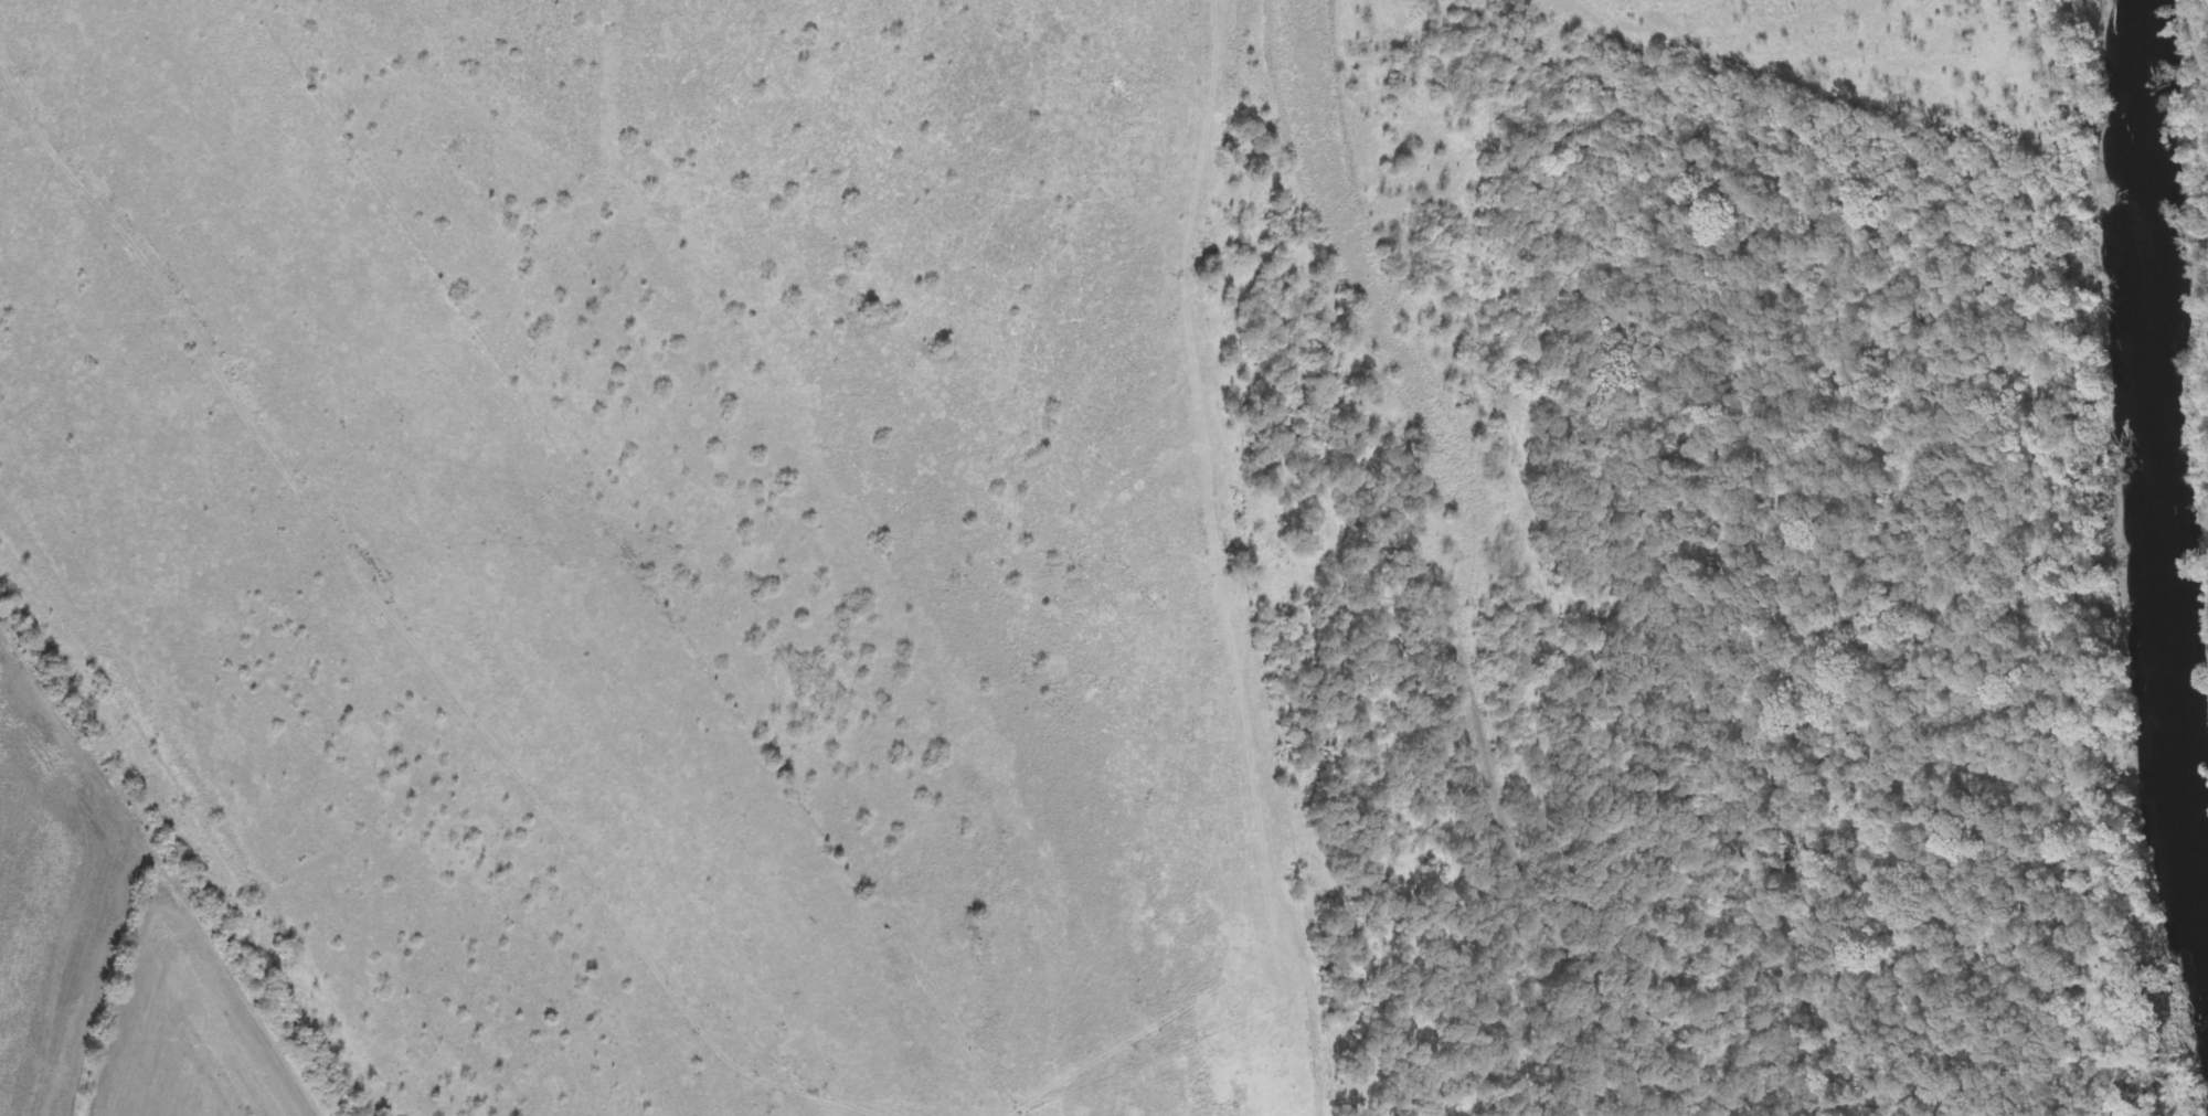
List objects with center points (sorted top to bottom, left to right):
river: (2166, 525)

